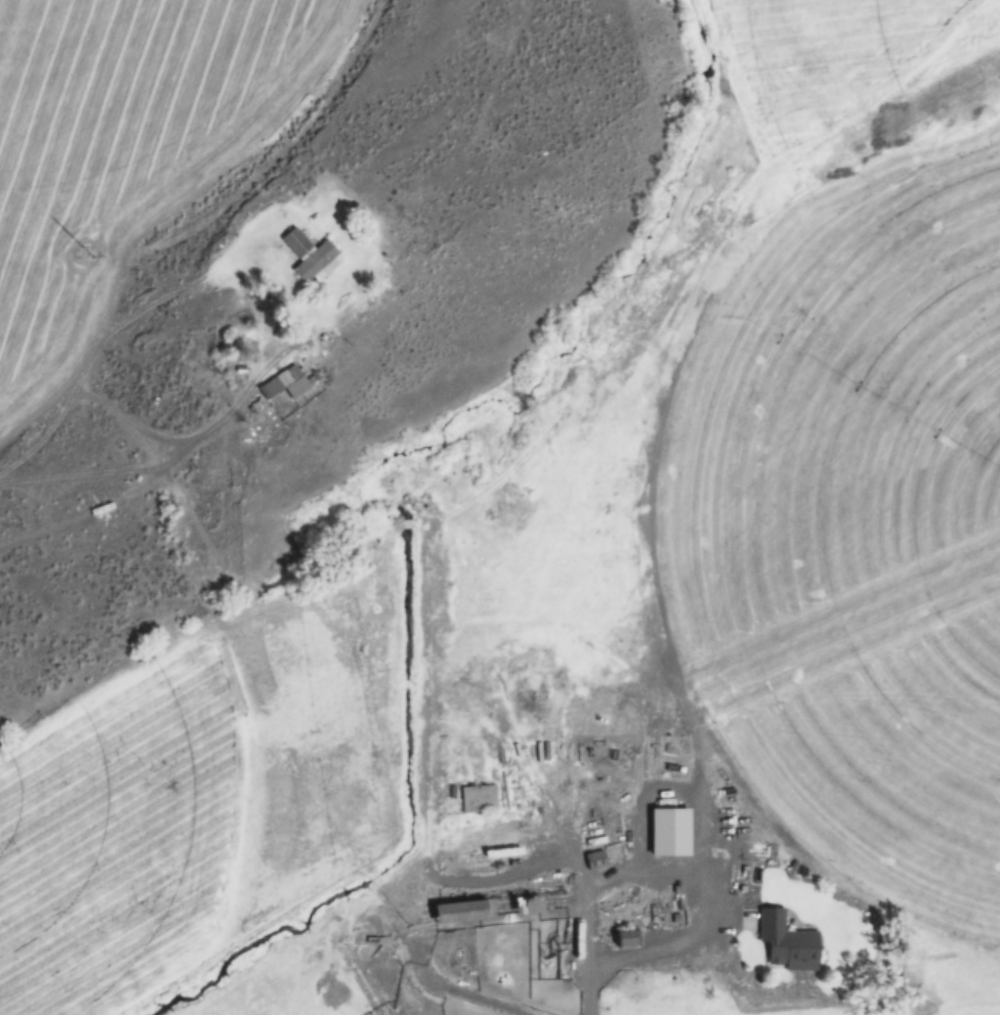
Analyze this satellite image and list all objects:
power tower: (86, 253)
building: (307, 255)
building: (286, 384)
building: (478, 800)
building: (593, 861)
building: (463, 913)
building: (861, 913)
building: (436, 938)
building: (624, 940)
road: (751, 975)
building: (678, 1006)

